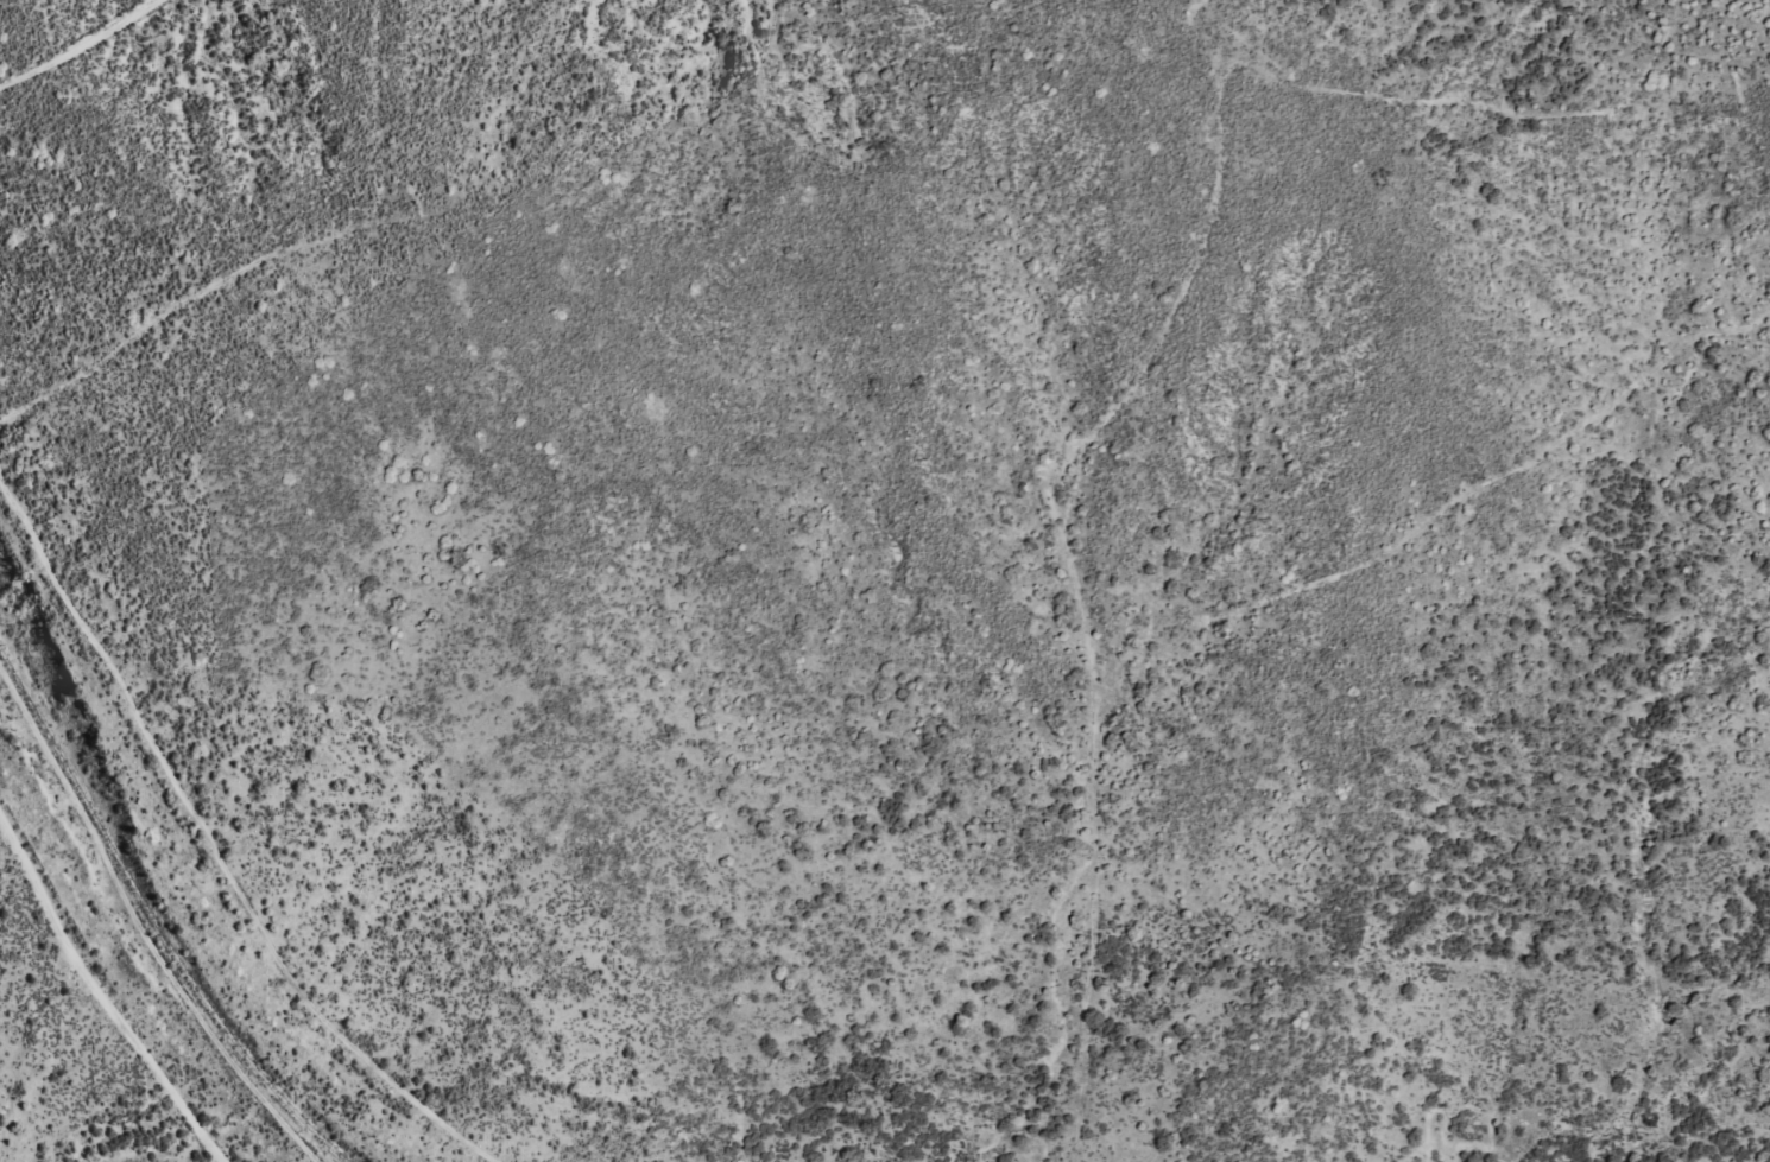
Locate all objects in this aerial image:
railway: (159, 928)

